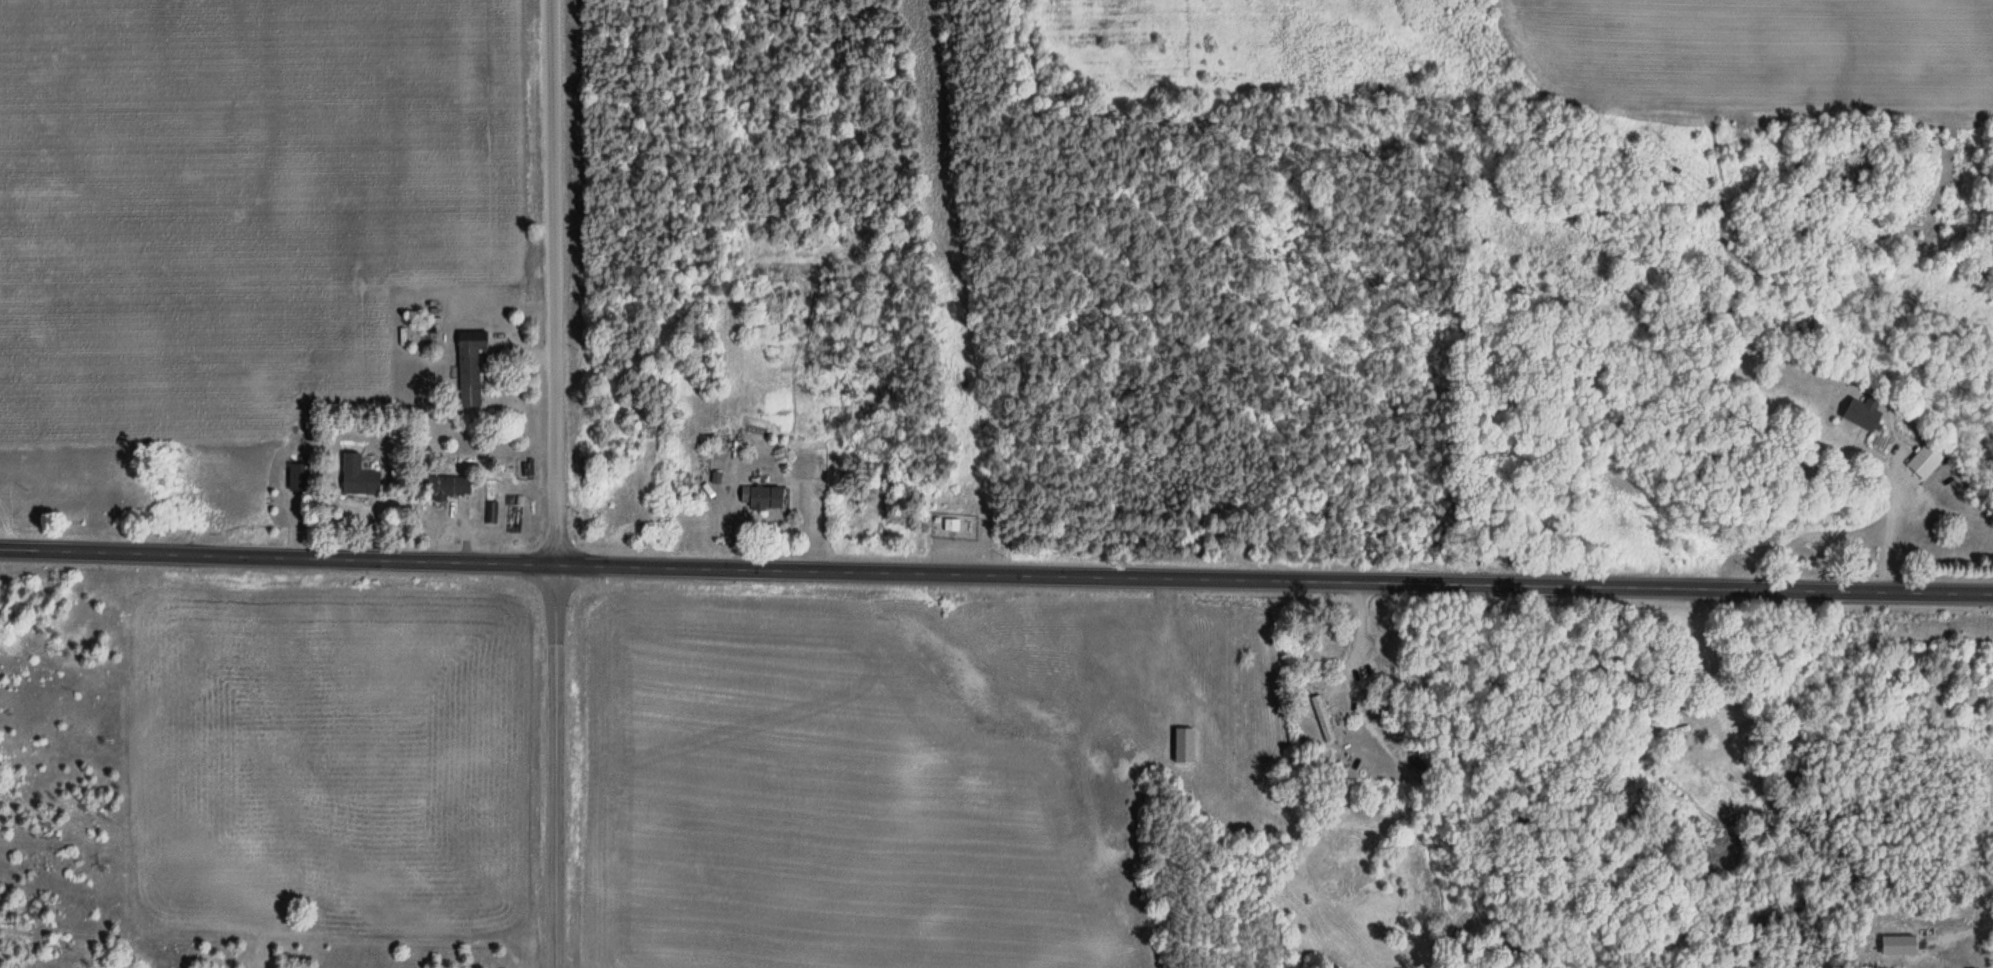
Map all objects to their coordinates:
road: (552, 282)
building: (468, 369)
building: (1858, 415)
building: (1921, 462)
building: (355, 477)
building: (445, 487)
building: (759, 498)
power substation: (954, 524)
building: (950, 525)
road: (279, 558)
road: (1276, 579)
building: (1321, 717)
building: (1678, 730)
road: (554, 766)

